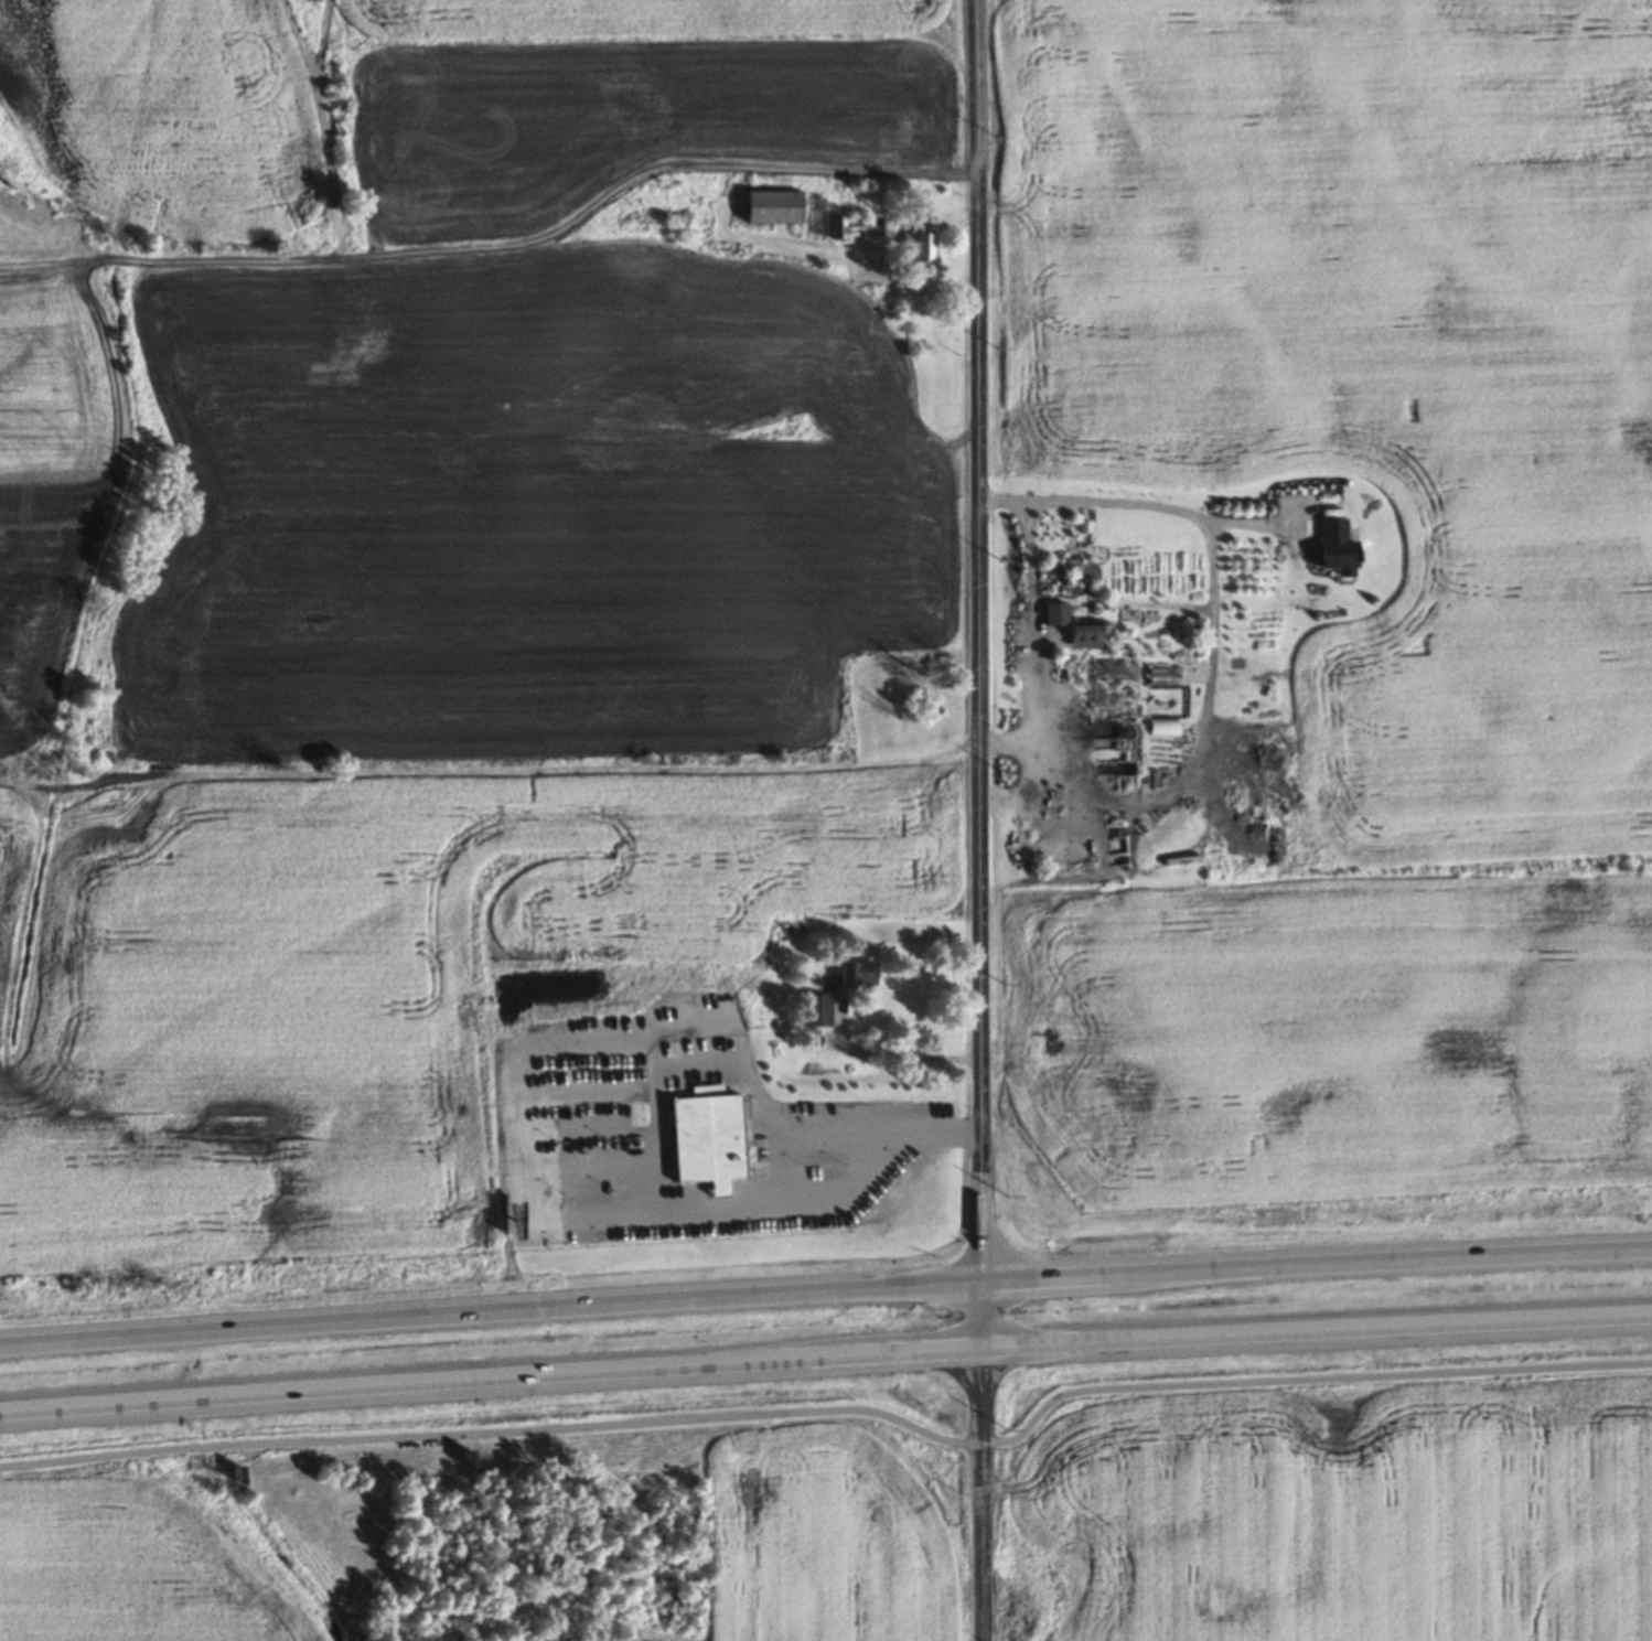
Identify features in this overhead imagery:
building: (773, 206)
building: (856, 226)
building: (923, 250)
building: (1085, 632)
building: (1162, 675)
road: (981, 819)
building: (858, 975)
building: (817, 1009)
building: (708, 1140)
road: (1317, 1264)
road: (491, 1311)
road: (1317, 1330)
road: (491, 1376)
road: (838, 1411)

